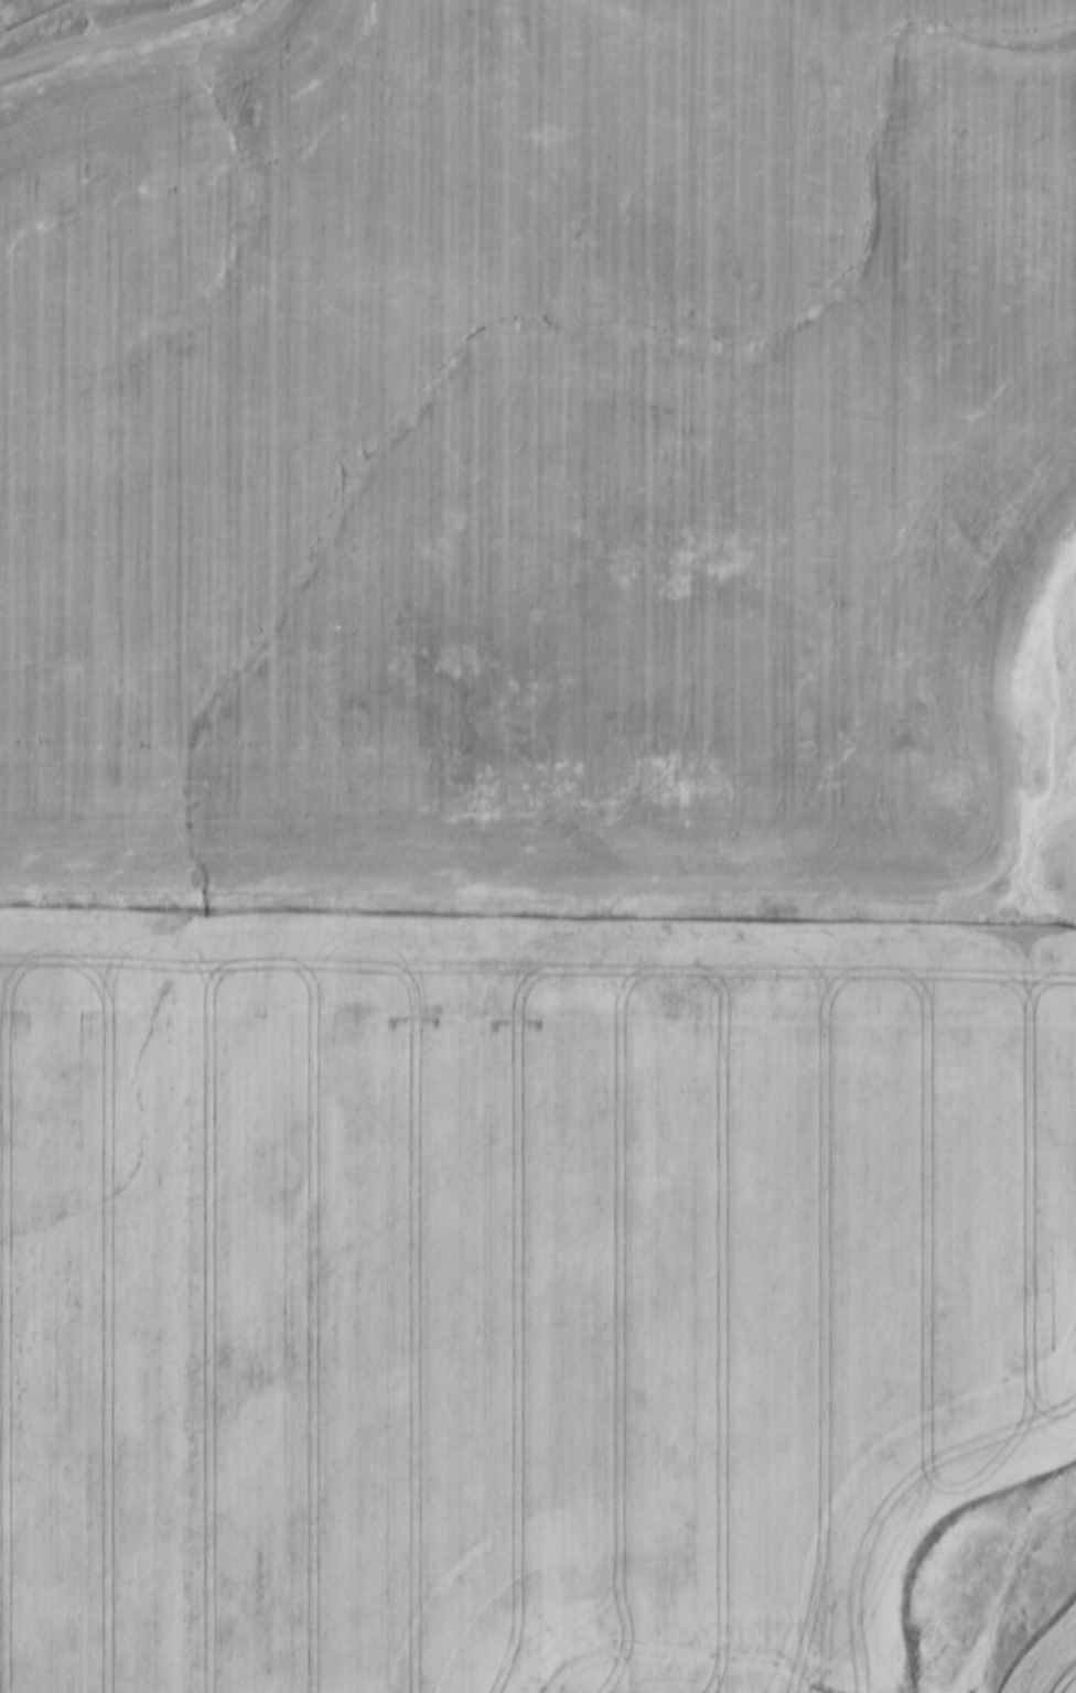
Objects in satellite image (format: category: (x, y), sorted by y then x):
road: (103, 29)

